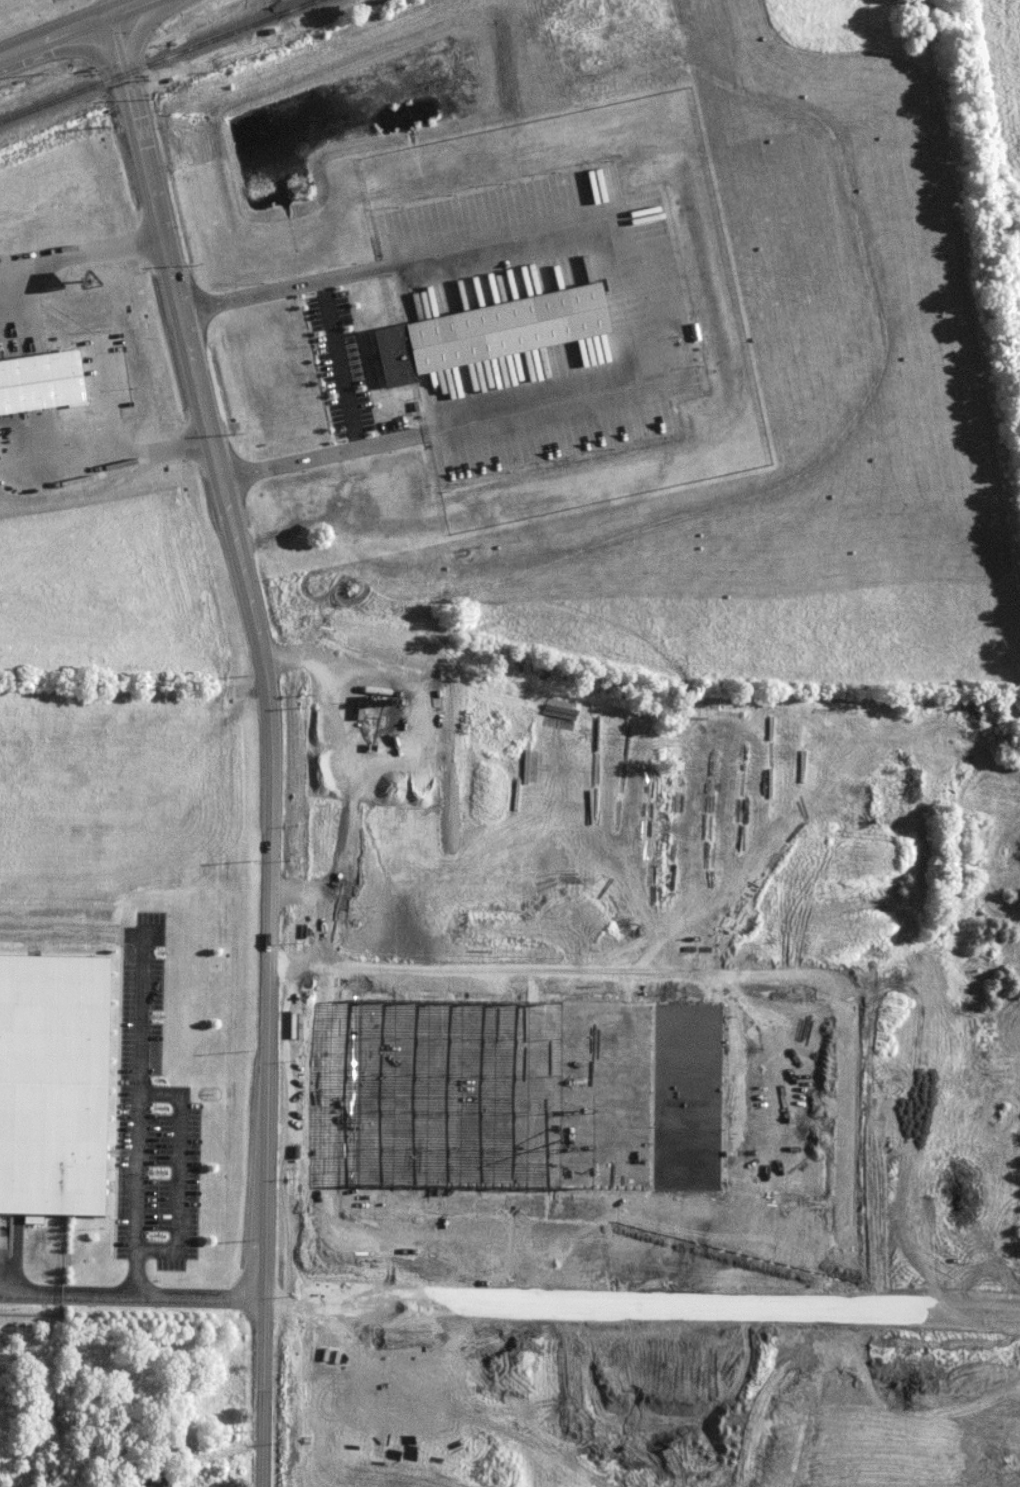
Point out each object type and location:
road: (115, 8)
road: (133, 8)
road: (57, 38)
railway: (158, 62)
crop: (1000, 74)
road: (86, 253)
road: (650, 291)
road: (255, 296)
road: (340, 366)
road: (110, 454)
road: (294, 464)
building: (448, 481)
building: (312, 499)
building: (371, 510)
road: (280, 741)
road: (76, 933)
crop: (468, 1078)
building: (58, 1083)
road: (149, 1115)
parking lot: (160, 1116)
road: (189, 1168)
road: (136, 1293)
road: (205, 1458)
building: (168, 1483)

